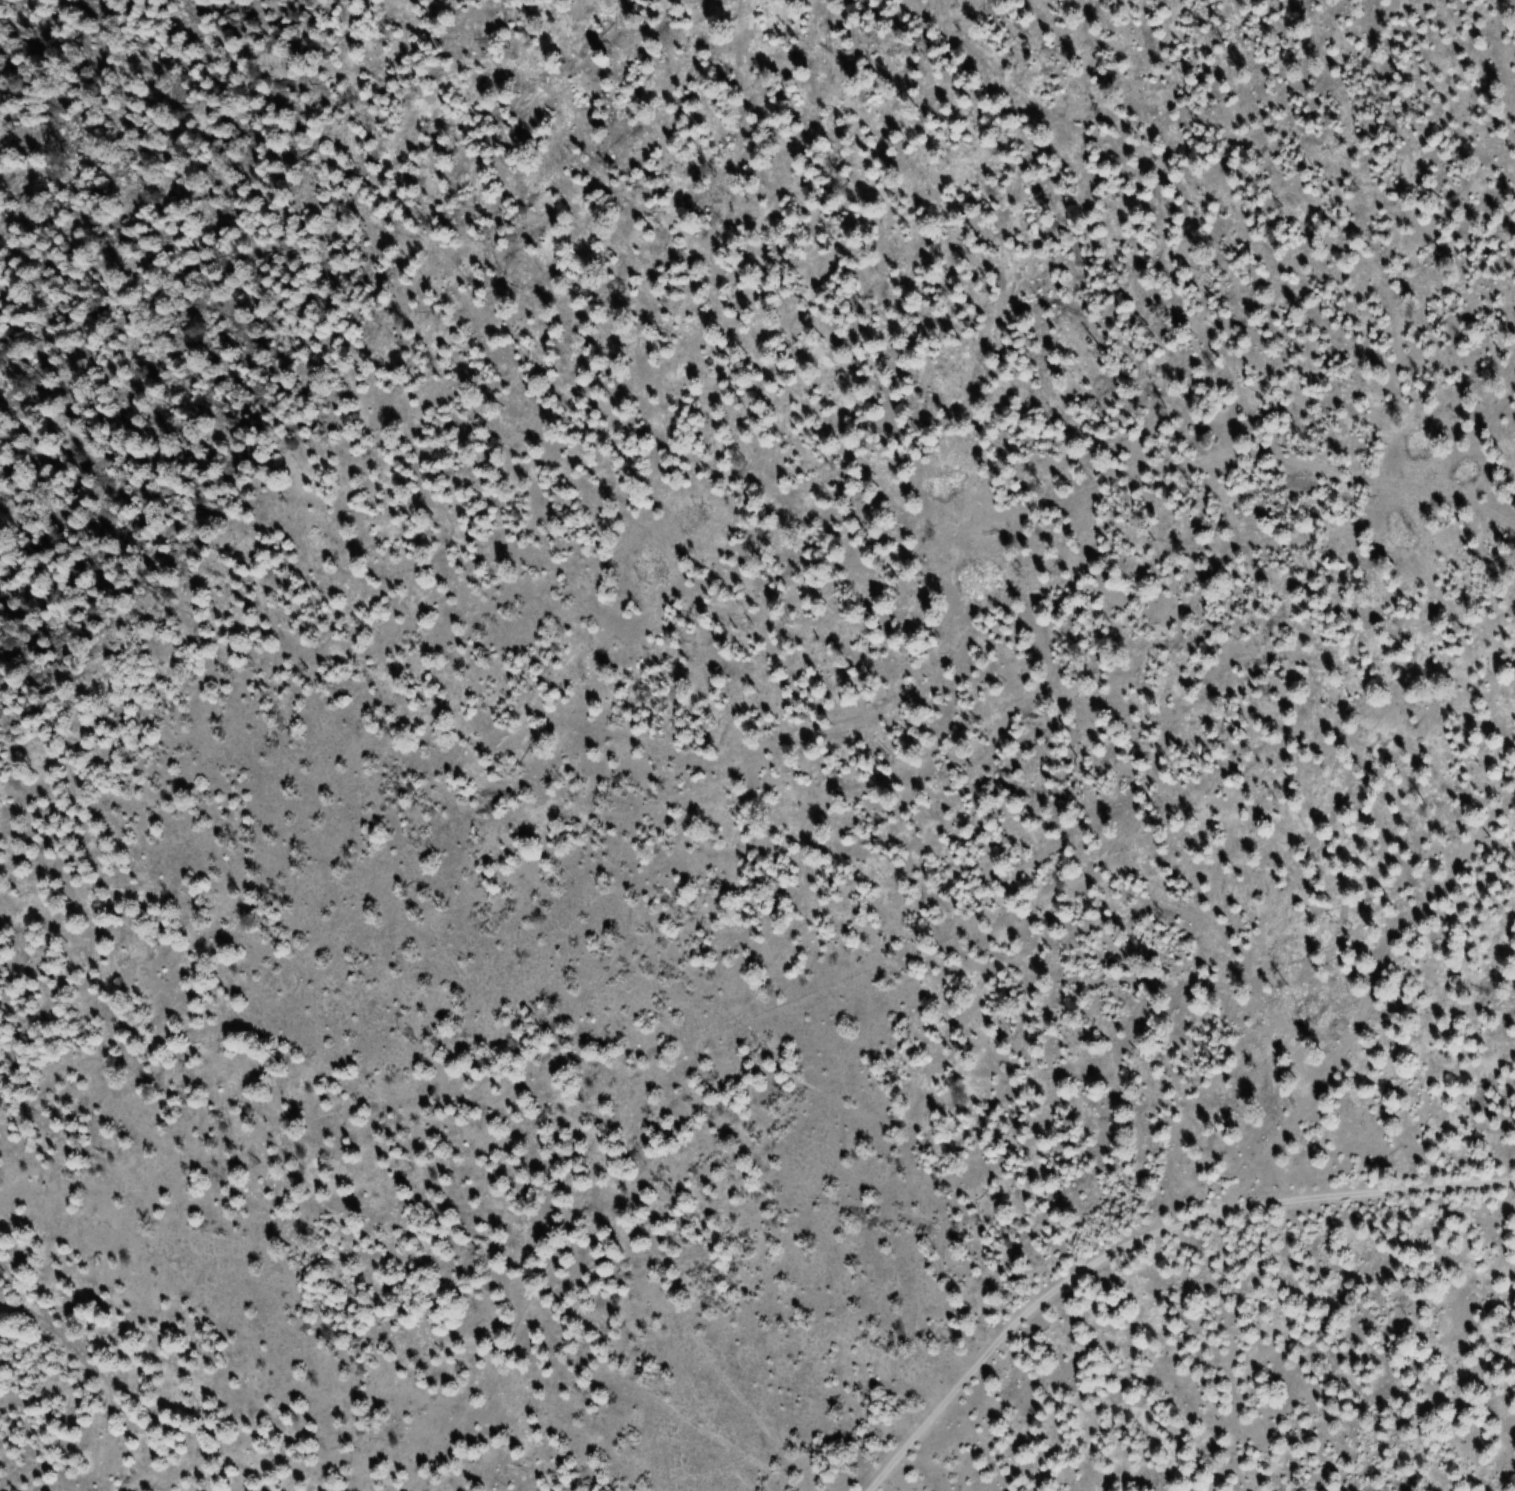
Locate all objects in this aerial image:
road: (1135, 1245)

